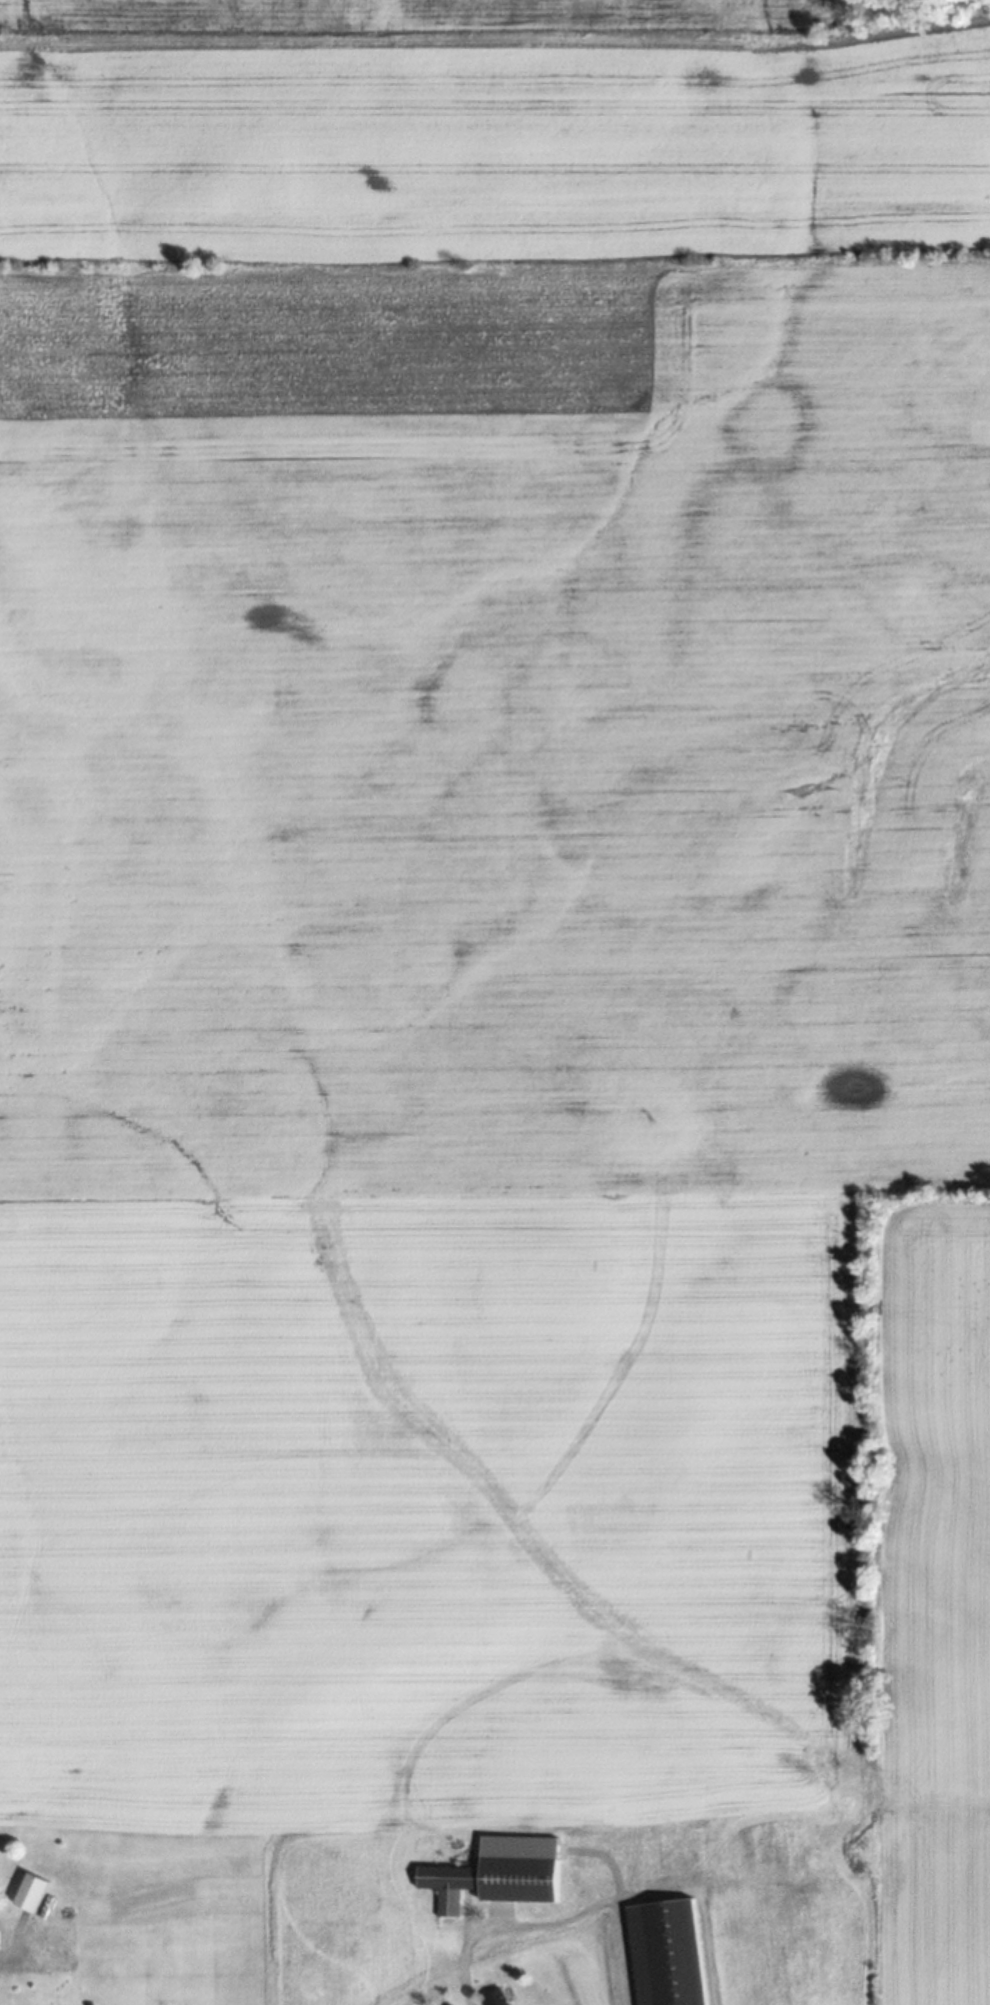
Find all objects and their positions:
building: (515, 1879)
building: (443, 1885)
building: (27, 1893)
road: (601, 1900)
building: (664, 1953)
building: (493, 1998)

